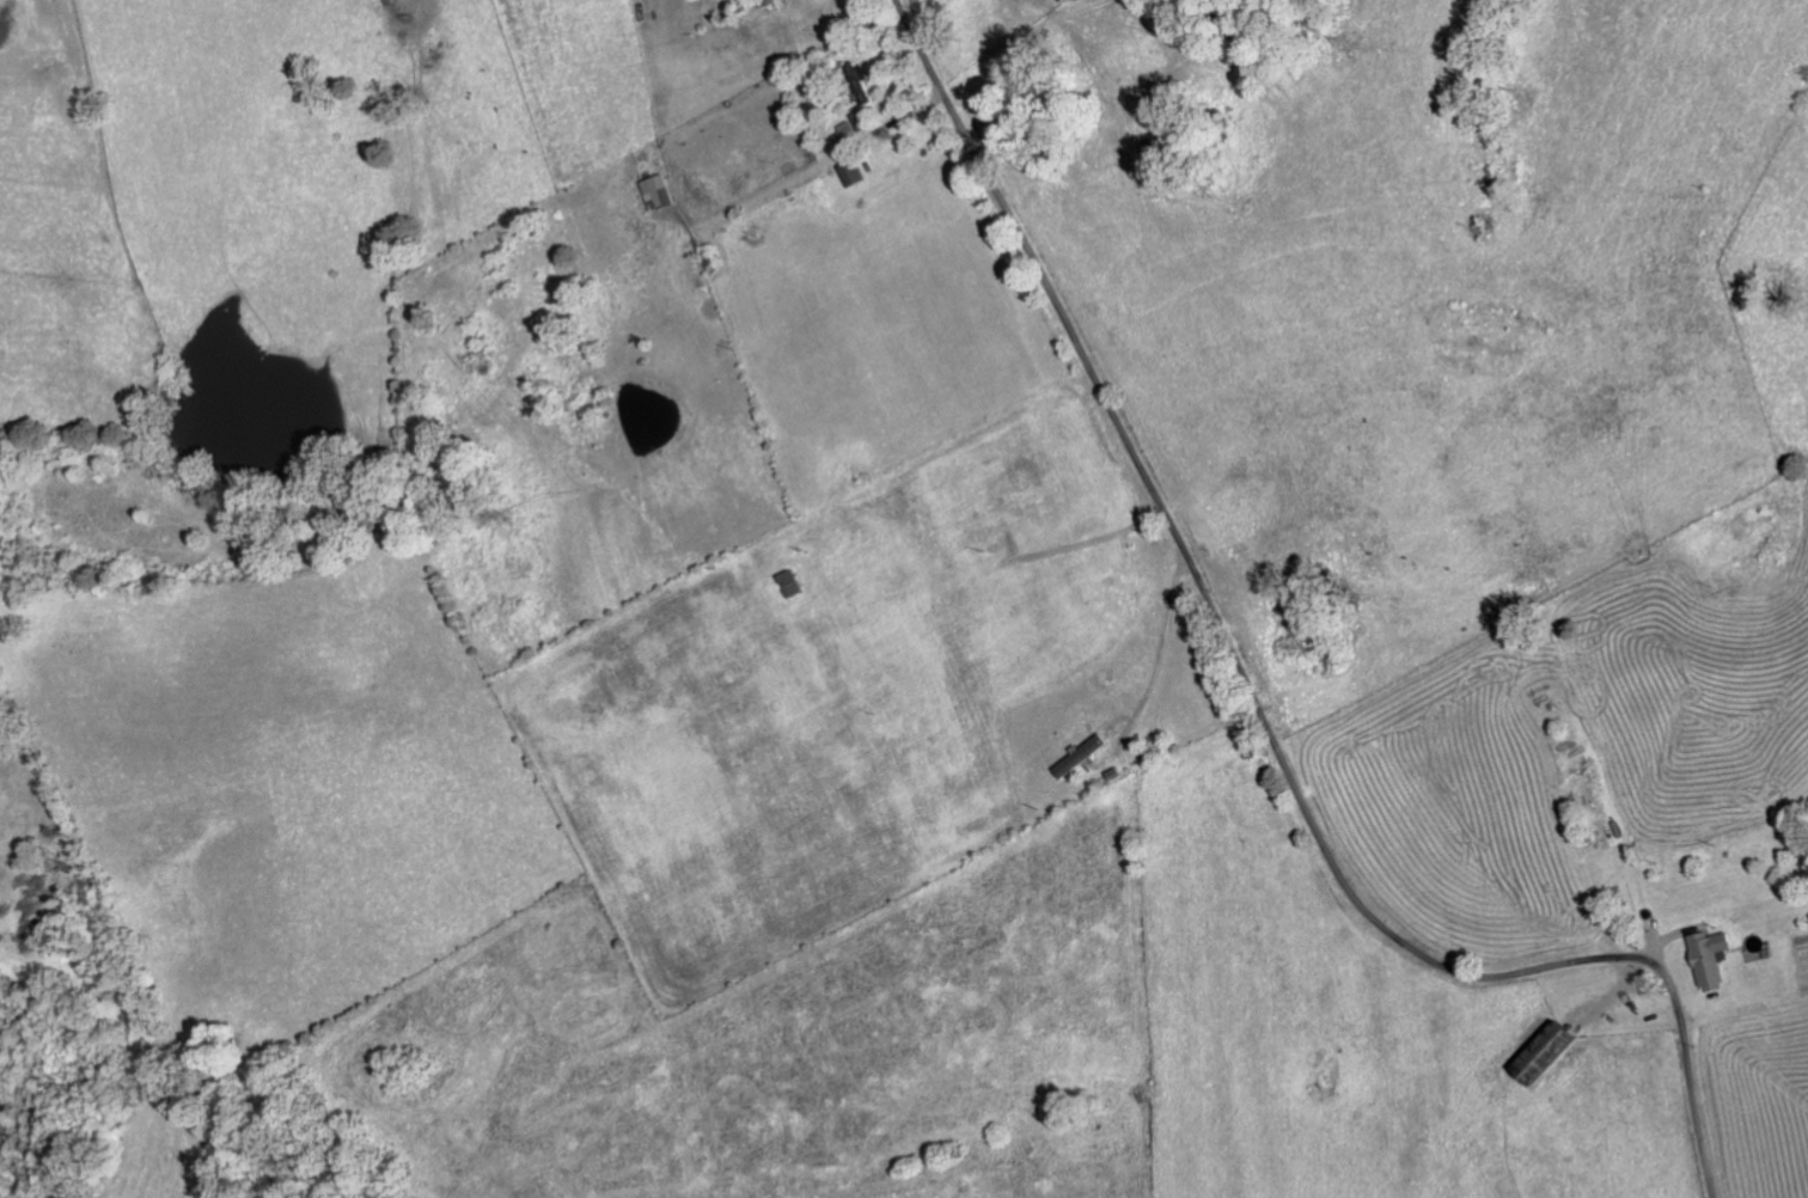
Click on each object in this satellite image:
building: (1062, 0)
building: (859, 81)
building: (849, 172)
building: (654, 191)
road: (696, 340)
road: (28, 530)
road: (1254, 704)
building: (1079, 752)
building: (1706, 954)
building: (1540, 1051)
road: (197, 1068)

